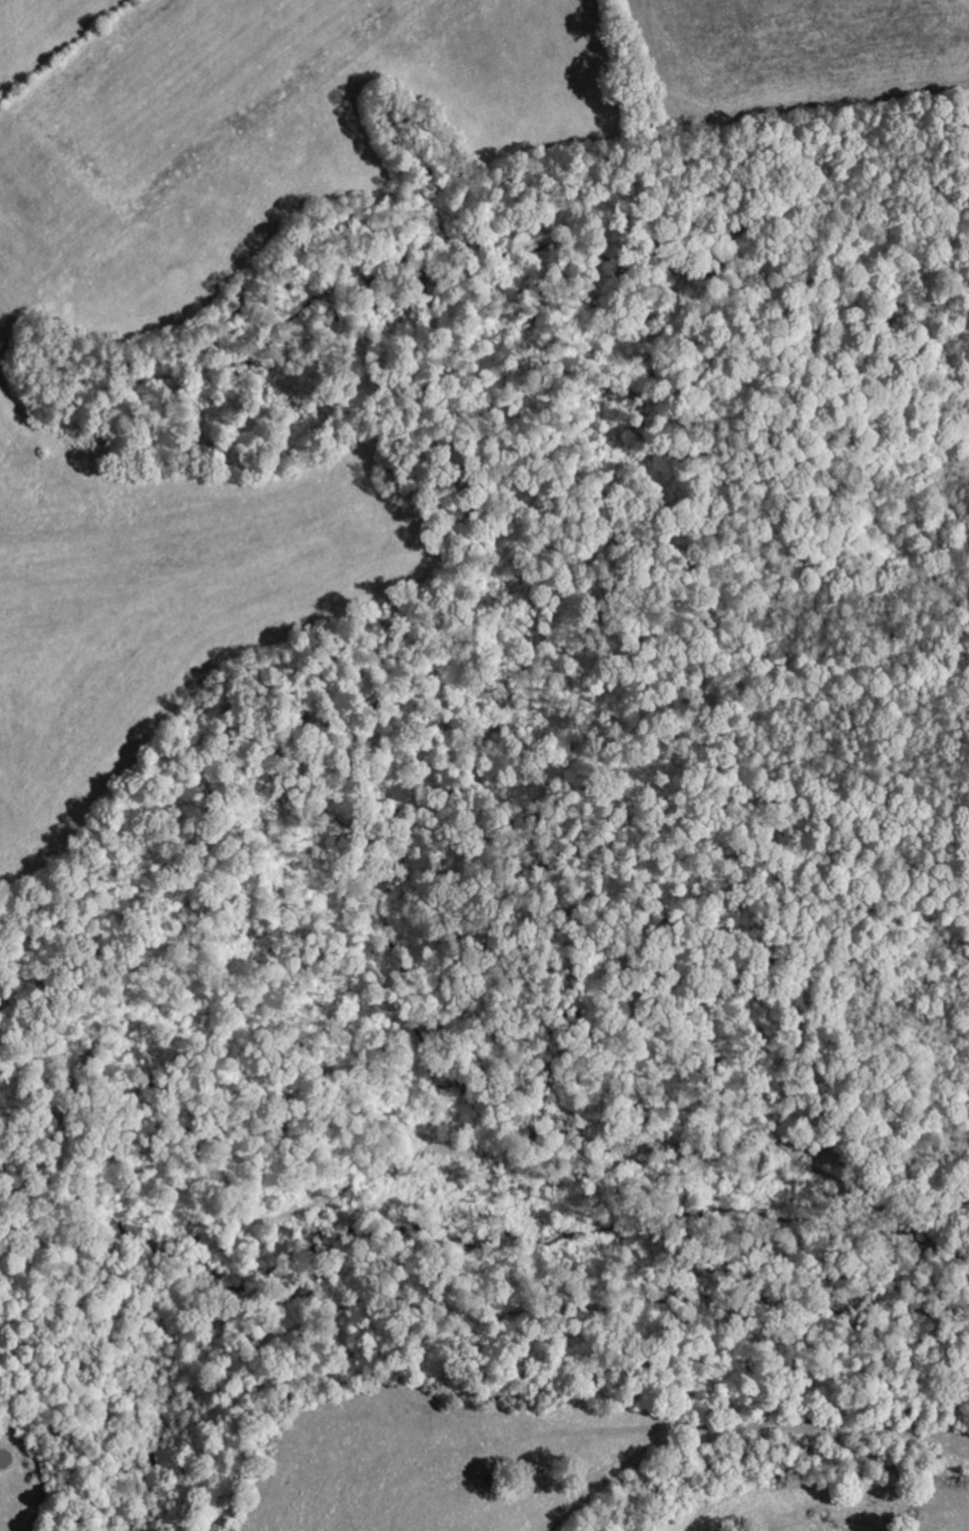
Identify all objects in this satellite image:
road: (33, 160)

